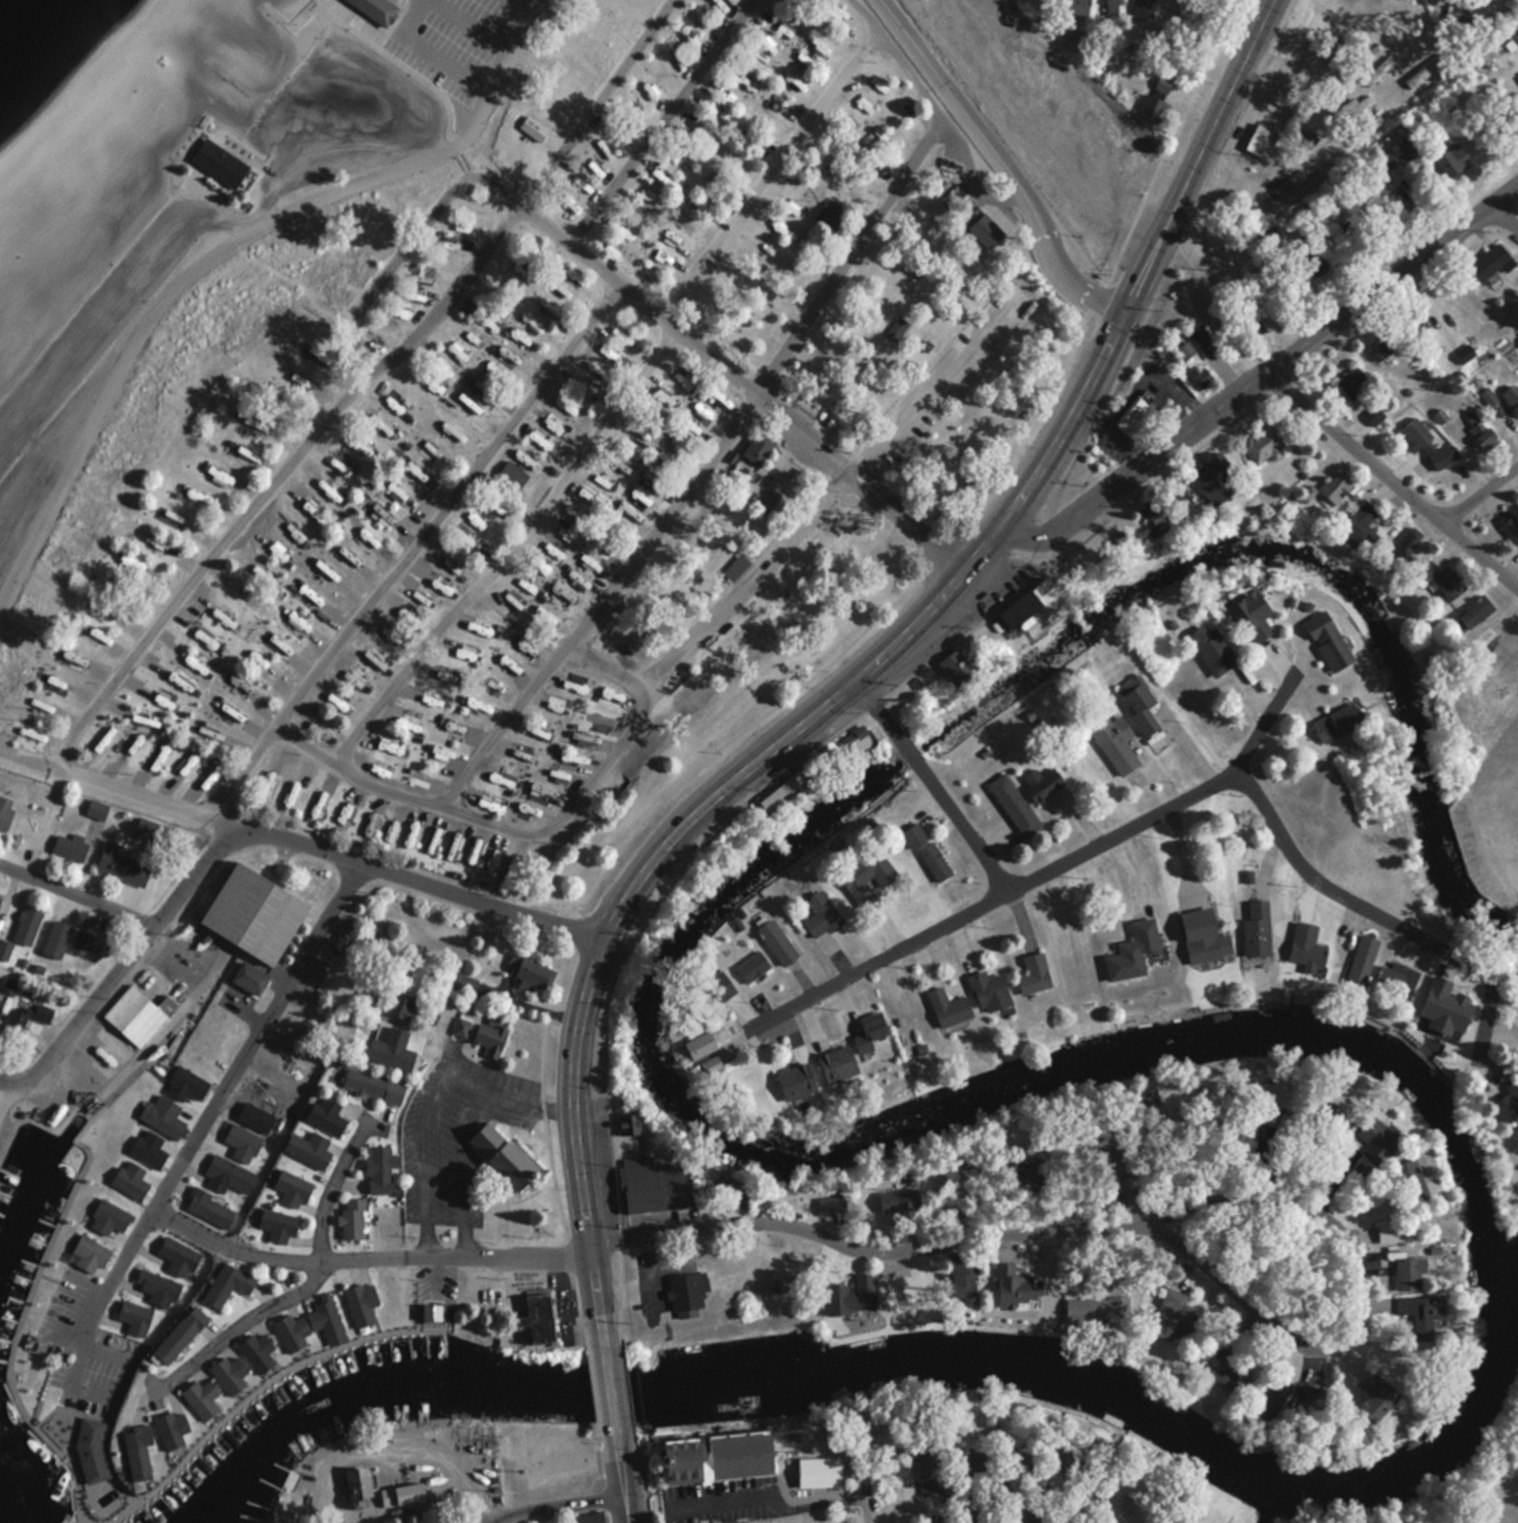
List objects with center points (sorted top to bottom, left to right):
building: (1076, 7)
building: (1112, 8)
building: (375, 9)
building: (1149, 11)
road: (534, 13)
road: (393, 22)
road: (292, 28)
road: (482, 31)
building: (1422, 39)
parking lot: (466, 45)
road: (402, 65)
building: (1379, 70)
building: (1417, 76)
building: (1162, 84)
building: (1356, 106)
building: (1149, 108)
road: (937, 110)
road: (665, 119)
building: (531, 128)
building: (1310, 139)
building: (1261, 141)
building: (1399, 155)
building: (1452, 156)
road: (1008, 161)
building: (218, 162)
building: (1294, 179)
road: (1506, 212)
building: (831, 213)
road: (223, 255)
road: (401, 263)
building: (1490, 263)
building: (503, 310)
road: (680, 310)
building: (489, 323)
building: (532, 323)
building: (1415, 323)
building: (898, 329)
building: (473, 341)
building: (1192, 343)
building: (301, 348)
building: (1465, 355)
road: (717, 358)
building: (444, 367)
road: (1267, 374)
building: (289, 379)
building: (1200, 379)
building: (1351, 382)
building: (434, 386)
building: (477, 388)
road: (351, 393)
building: (1489, 397)
building: (714, 398)
building: (1511, 399)
park: (487, 404)
building: (396, 407)
building: (474, 410)
building: (706, 414)
building: (1130, 416)
building: (1374, 416)
building: (381, 427)
building: (691, 429)
building: (1477, 430)
building: (258, 433)
building: (449, 433)
building: (1414, 434)
building: (679, 444)
building: (1261, 444)
building: (758, 448)
building: (247, 452)
building: (432, 453)
building: (345, 466)
building: (414, 470)
building: (215, 471)
building: (513, 473)
road: (1394, 477)
building: (1211, 478)
building: (1332, 488)
building: (638, 494)
building: (398, 495)
road: (1483, 495)
building: (195, 498)
building: (771, 500)
road: (821, 502)
building: (1175, 505)
building: (311, 508)
road: (452, 510)
building: (630, 510)
building: (383, 516)
building: (474, 517)
building: (178, 521)
building: (1359, 524)
building: (1510, 526)
building: (293, 528)
road: (650, 533)
building: (365, 535)
building: (1406, 542)
building: (159, 545)
road: (1062, 556)
building: (735, 569)
road: (459, 570)
building: (1427, 571)
building: (330, 576)
building: (574, 576)
building: (270, 580)
building: (1448, 585)
building: (531, 586)
building: (562, 594)
building: (310, 596)
building: (211, 606)
building: (280, 608)
building: (472, 609)
building: (1249, 609)
building: (1015, 611)
building: (1474, 611)
building: (548, 617)
building: (236, 629)
building: (205, 633)
building: (91, 637)
building: (521, 639)
building: (1324, 639)
building: (1206, 643)
building: (502, 651)
building: (69, 656)
road: (881, 662)
building: (258, 663)
building: (183, 666)
building: (951, 667)
building: (240, 685)
building: (1135, 694)
building: (62, 700)
building: (466, 700)
building: (344, 707)
building: (440, 714)
building: (1330, 722)
building: (107, 723)
building: (331, 733)
building: (559, 735)
building: (133, 737)
building: (423, 740)
building: (1110, 741)
building: (162, 746)
building: (533, 747)
building: (189, 756)
building: (215, 764)
building: (242, 768)
building: (522, 774)
building: (1040, 775)
building: (270, 779)
road: (935, 786)
building: (297, 791)
building: (503, 797)
building: (1010, 798)
building: (322, 801)
building: (96, 809)
building: (4, 812)
building: (348, 812)
building: (487, 822)
building: (404, 825)
building: (430, 832)
road: (298, 838)
building: (460, 841)
building: (925, 844)
building: (69, 848)
building: (120, 865)
road: (1053, 868)
building: (867, 872)
road: (79, 896)
building: (0, 901)
building: (815, 910)
building: (249, 915)
road: (1387, 918)
road: (645, 919)
building: (1251, 921)
building: (29, 922)
building: (1141, 927)
building: (1198, 928)
building: (774, 935)
building: (1301, 944)
building: (1356, 955)
building: (1114, 959)
building: (747, 960)
building: (1030, 971)
road: (120, 972)
building: (525, 973)
building: (1394, 975)
building: (247, 978)
building: (463, 983)
building: (986, 987)
building: (1443, 996)
building: (0, 997)
building: (944, 1002)
building: (403, 1003)
building: (136, 1016)
building: (24, 1020)
building: (867, 1026)
building: (461, 1027)
road: (260, 1032)
building: (489, 1036)
building: (391, 1049)
building: (695, 1052)
building: (835, 1058)
building: (789, 1075)
building: (186, 1082)
building: (371, 1086)
road: (9, 1087)
road: (544, 1090)
building: (1503, 1108)
building: (1272, 1111)
building: (164, 1114)
building: (254, 1116)
building: (325, 1117)
building: (627, 1125)
parking lot: (454, 1133)
building: (244, 1140)
building: (1369, 1144)
building: (306, 1148)
building: (148, 1149)
building: (504, 1155)
building: (1111, 1160)
building: (377, 1169)
building: (229, 1173)
building: (1407, 1173)
building: (1022, 1176)
road: (1256, 1177)
building: (130, 1180)
building: (287, 1181)
road: (336, 1183)
building: (651, 1185)
road: (549, 1186)
road: (517, 1199)
building: (892, 1201)
building: (828, 1206)
building: (210, 1208)
building: (110, 1215)
building: (353, 1217)
road: (1144, 1221)
building: (274, 1225)
building: (1384, 1229)
building: (173, 1247)
building: (89, 1252)
road: (367, 1255)
road: (623, 1266)
building: (1408, 1273)
building: (154, 1282)
building: (220, 1282)
building: (962, 1287)
building: (1014, 1287)
building: (685, 1293)
building: (854, 1296)
building: (358, 1298)
road: (103, 1299)
building: (427, 1310)
building: (1096, 1310)
building: (1170, 1314)
building: (535, 1315)
parking lot: (62, 1316)
building: (134, 1316)
building: (1413, 1316)
building: (322, 1319)
building: (176, 1328)
road: (234, 1328)
building: (288, 1328)
road: (621, 1334)
building: (254, 1349)
river: (891, 1365)
parking lot: (104, 1366)
building: (225, 1371)
building: (1224, 1371)
road: (609, 1388)
building: (196, 1394)
building: (1375, 1399)
building: (1273, 1400)
road: (628, 1404)
building: (165, 1425)
building: (558, 1449)
building: (91, 1450)
building: (131, 1451)
building: (724, 1453)
building: (969, 1464)
building: (817, 1470)
building: (1031, 1471)
road: (602, 1473)
building: (929, 1482)
building: (356, 1484)
road: (643, 1485)
road: (625, 1491)
building: (401, 1492)
river: (14, 1493)
road: (874, 1498)
road: (558, 1503)
road: (711, 1512)
building: (1041, 1513)
building: (585, 1517)
parking lot: (440, 1520)
building: (938, 1520)

